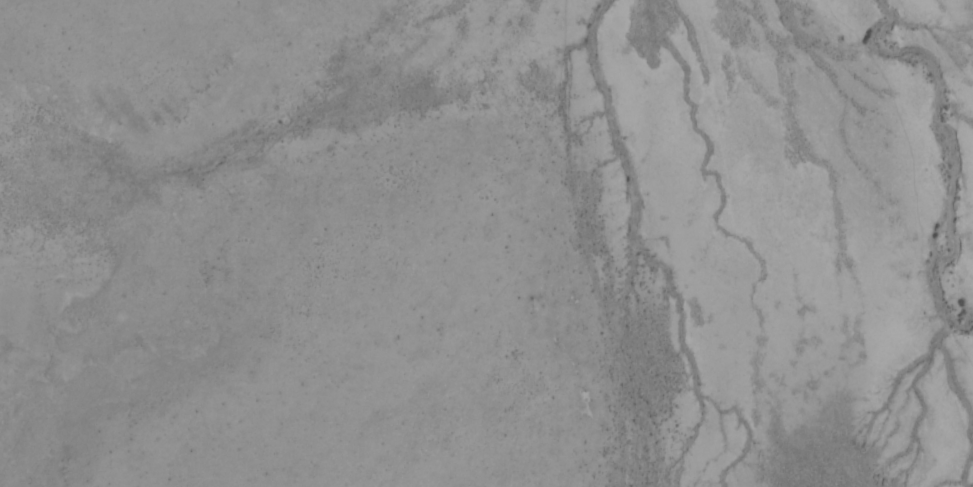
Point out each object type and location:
river: (935, 155)

